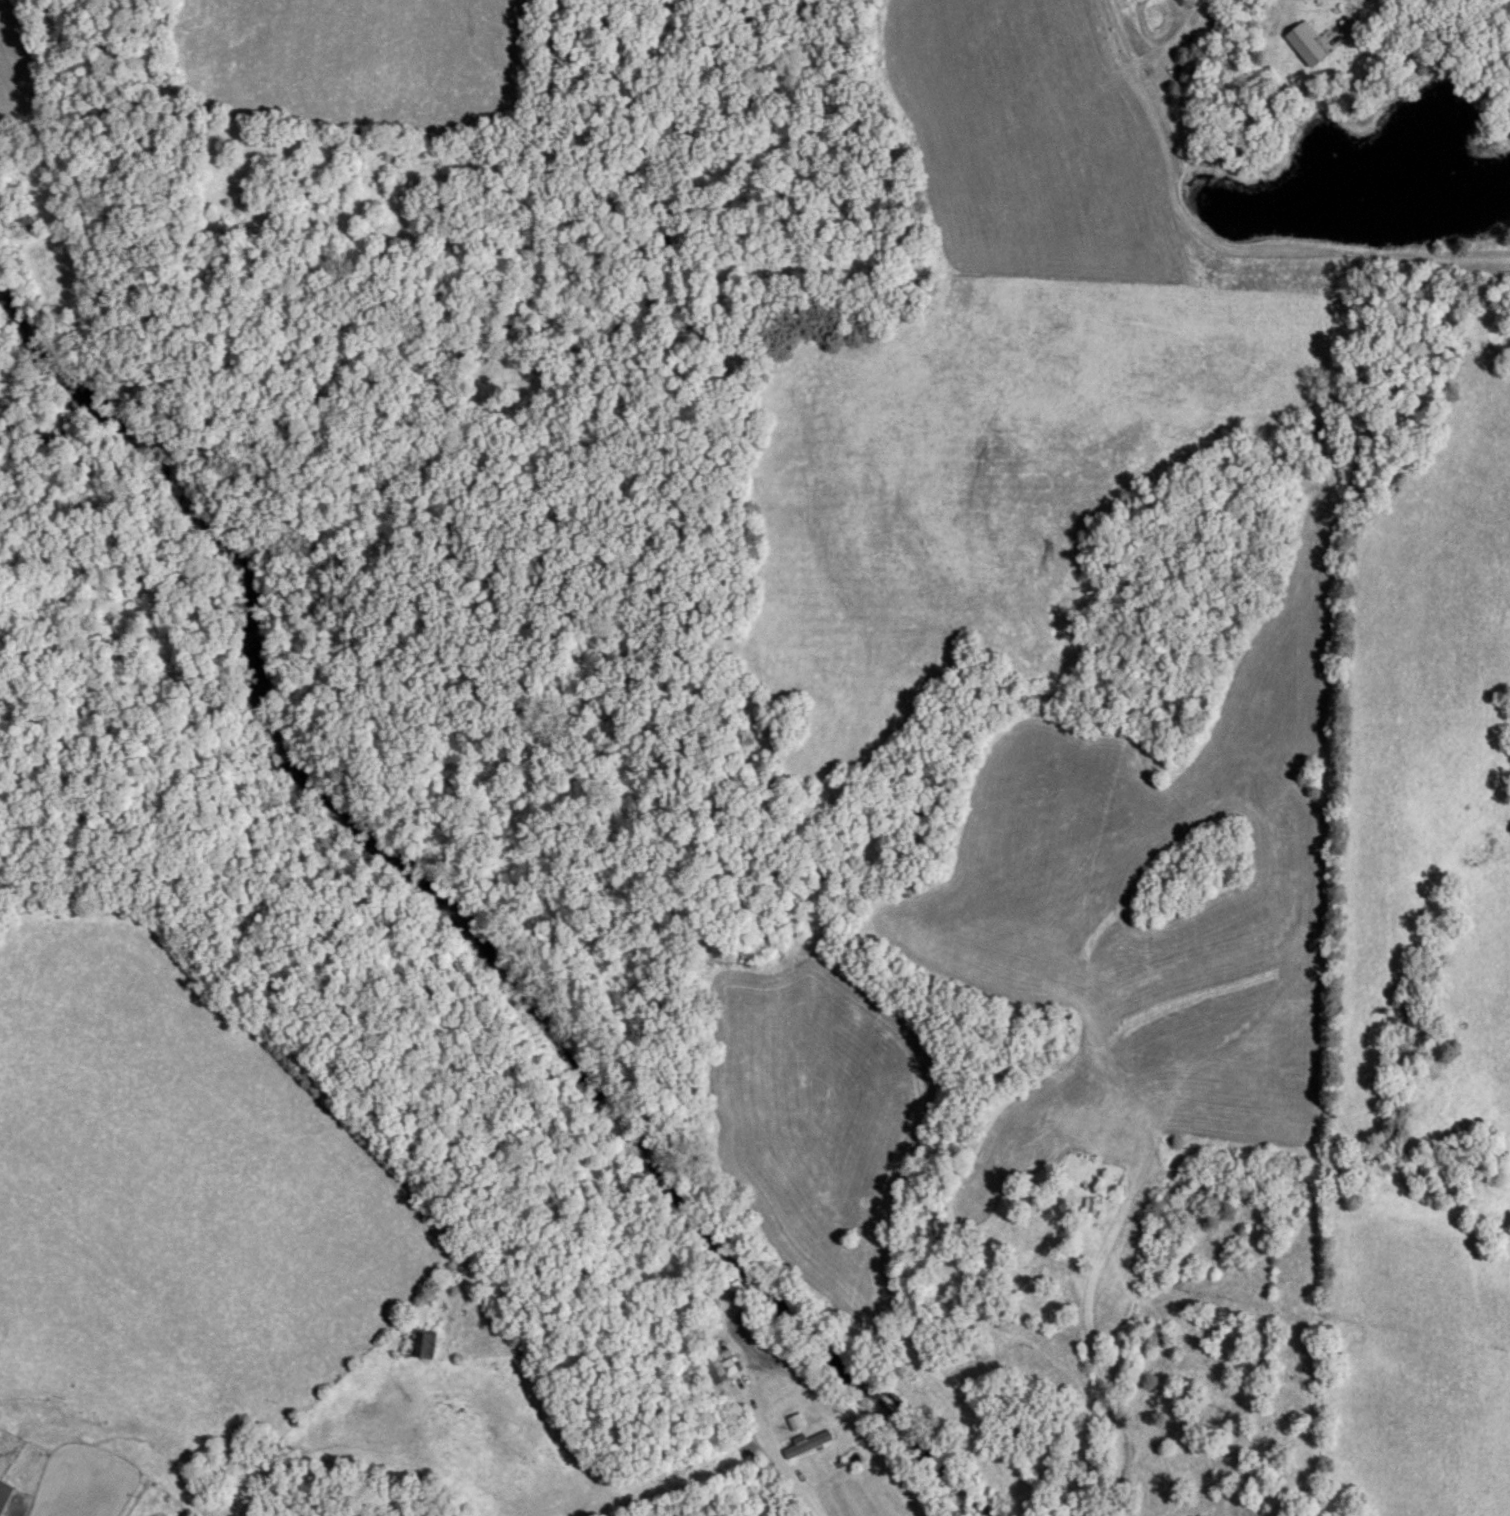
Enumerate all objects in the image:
road: (1344, 16)
building: (1309, 45)
building: (1095, 1208)
building: (424, 1344)
building: (722, 1370)
road: (1107, 1400)
building: (797, 1424)
building: (809, 1446)
road: (778, 1460)
building: (4, 1495)

